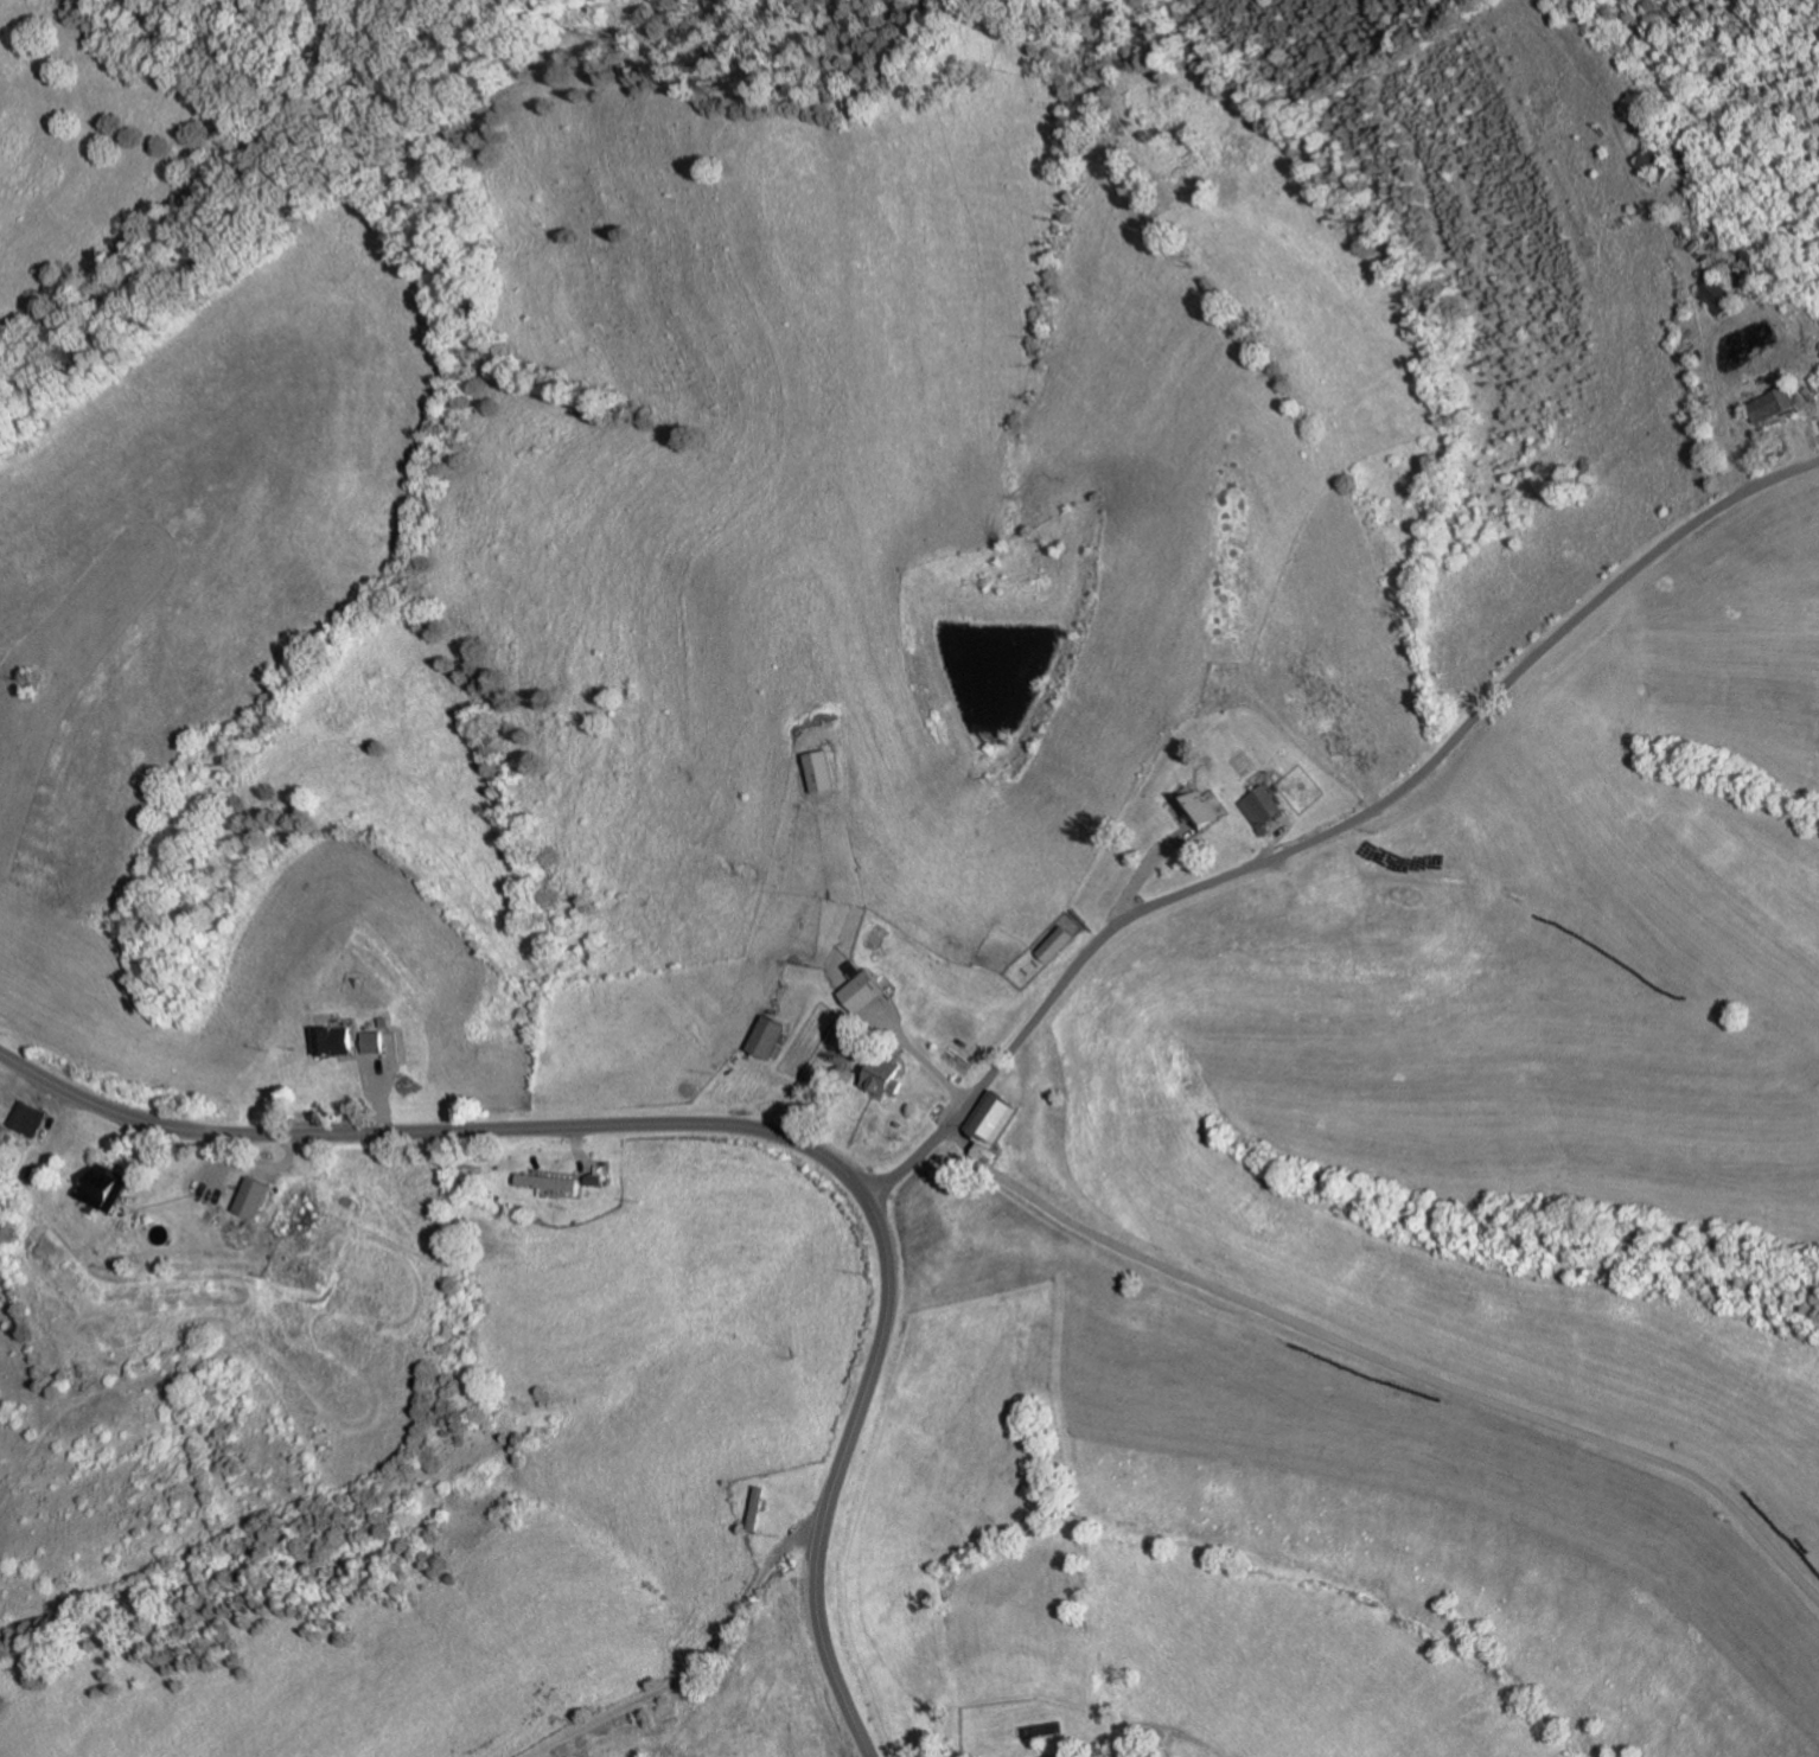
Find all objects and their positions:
building: (1652, 165)
building: (1718, 295)
road: (1705, 341)
building: (1775, 404)
road: (1802, 449)
building: (822, 769)
building: (1200, 806)
building: (1266, 806)
road: (1335, 829)
road: (1150, 862)
road: (1288, 867)
building: (1057, 943)
building: (864, 986)
building: (388, 1020)
building: (767, 1035)
building: (337, 1039)
building: (377, 1040)
road: (920, 1053)
road: (359, 1056)
building: (886, 1073)
road: (19, 1086)
road: (381, 1091)
road: (50, 1113)
building: (28, 1116)
building: (997, 1116)
road: (727, 1123)
building: (900, 1123)
road: (133, 1143)
road: (293, 1150)
road: (581, 1154)
building: (990, 1154)
road: (262, 1164)
road: (217, 1165)
building: (596, 1178)
building: (550, 1181)
building: (107, 1186)
building: (255, 1195)
building: (349, 1199)
road: (161, 1202)
road: (1387, 1361)
building: (759, 1507)
road: (697, 1661)
road: (868, 1755)
building: (1062, 1756)

